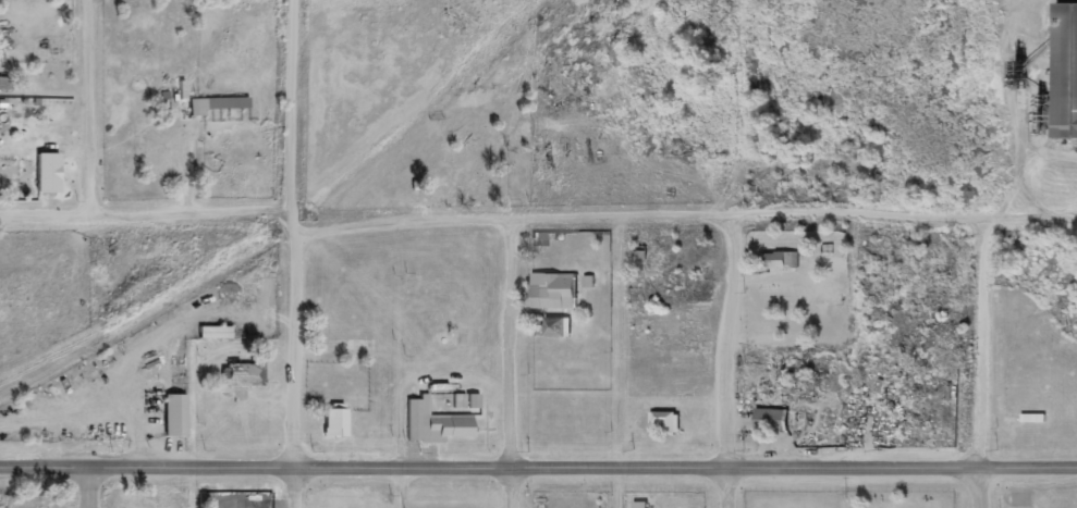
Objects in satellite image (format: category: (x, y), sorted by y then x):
building: (47, 44)
building: (1066, 71)
building: (217, 104)
road: (94, 108)
building: (47, 172)
road: (146, 215)
road: (685, 215)
road: (296, 253)
building: (780, 260)
railway: (217, 272)
building: (588, 282)
building: (552, 292)
building: (558, 325)
building: (215, 332)
road: (984, 361)
road: (513, 362)
road: (733, 362)
building: (244, 374)
building: (466, 401)
building: (175, 416)
building: (776, 420)
building: (334, 422)
building: (666, 422)
building: (435, 423)
road: (538, 469)
road: (90, 488)
building: (640, 505)

